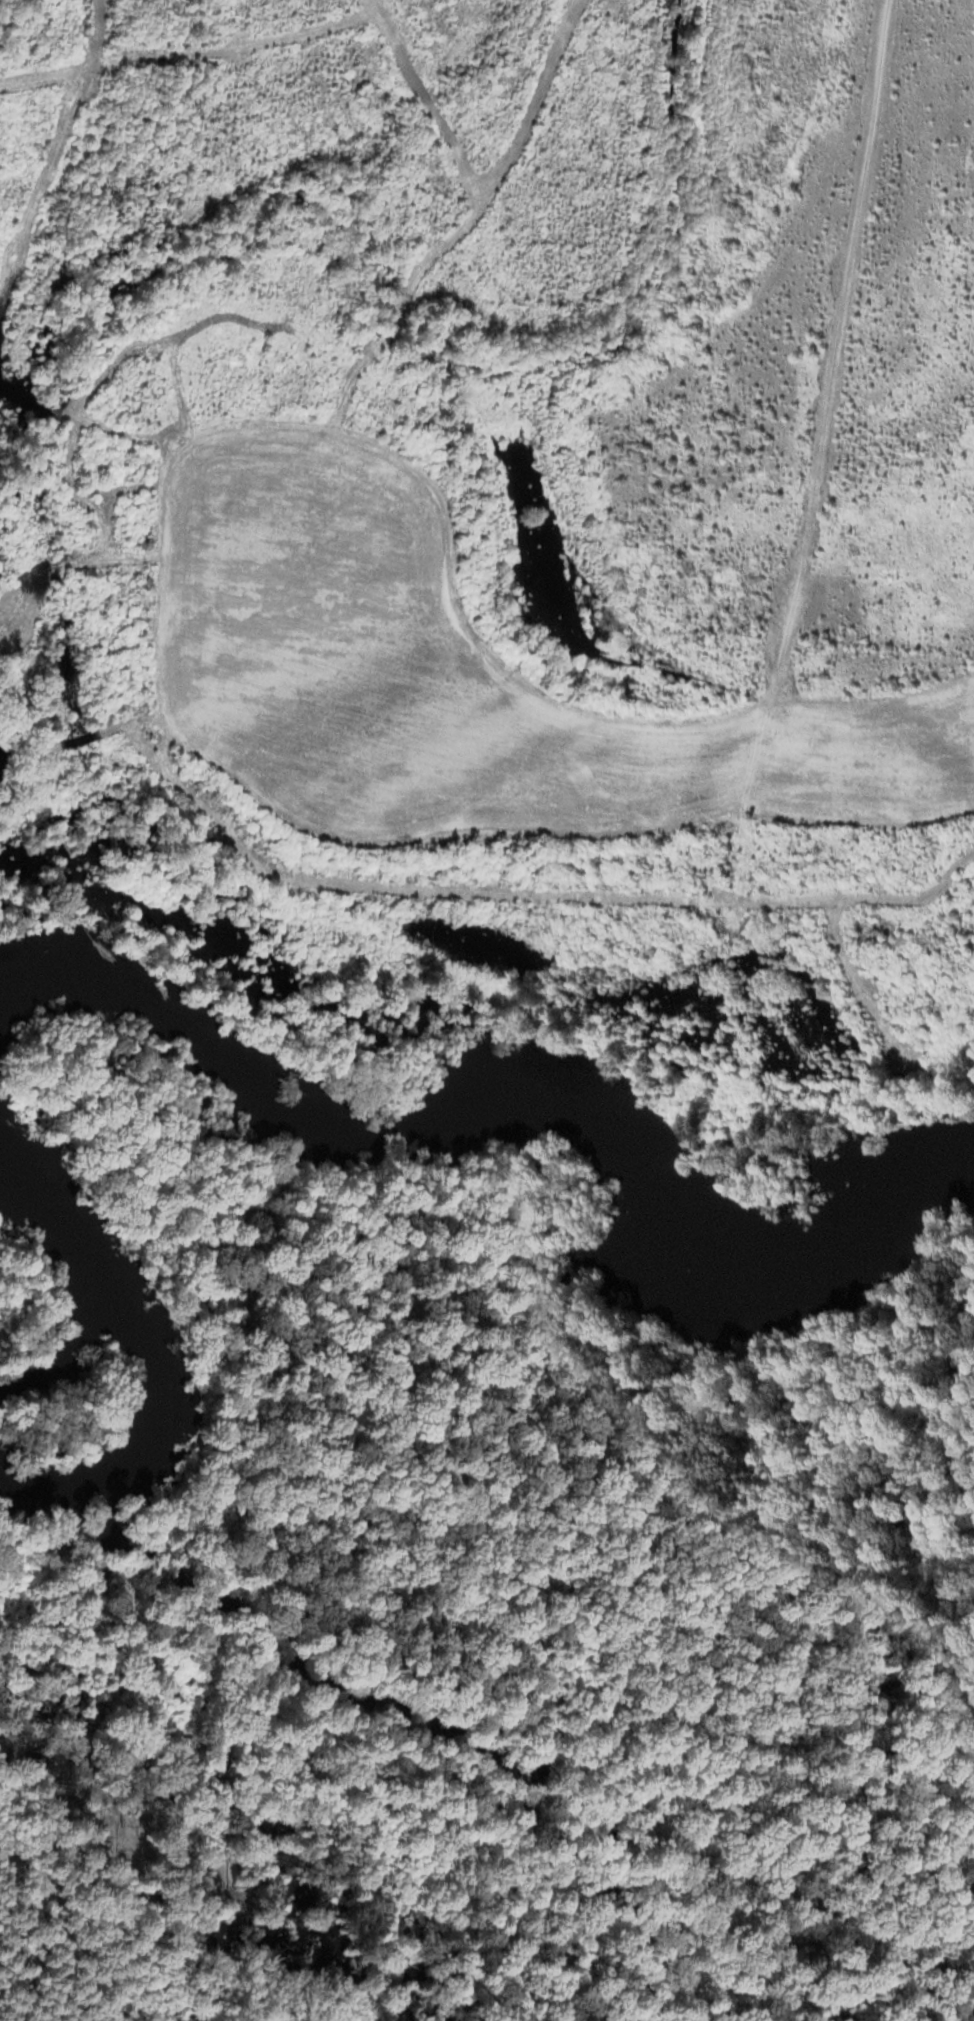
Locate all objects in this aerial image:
river: (530, 1089)
river: (32, 1237)
river: (51, 1343)
building: (430, 1724)

